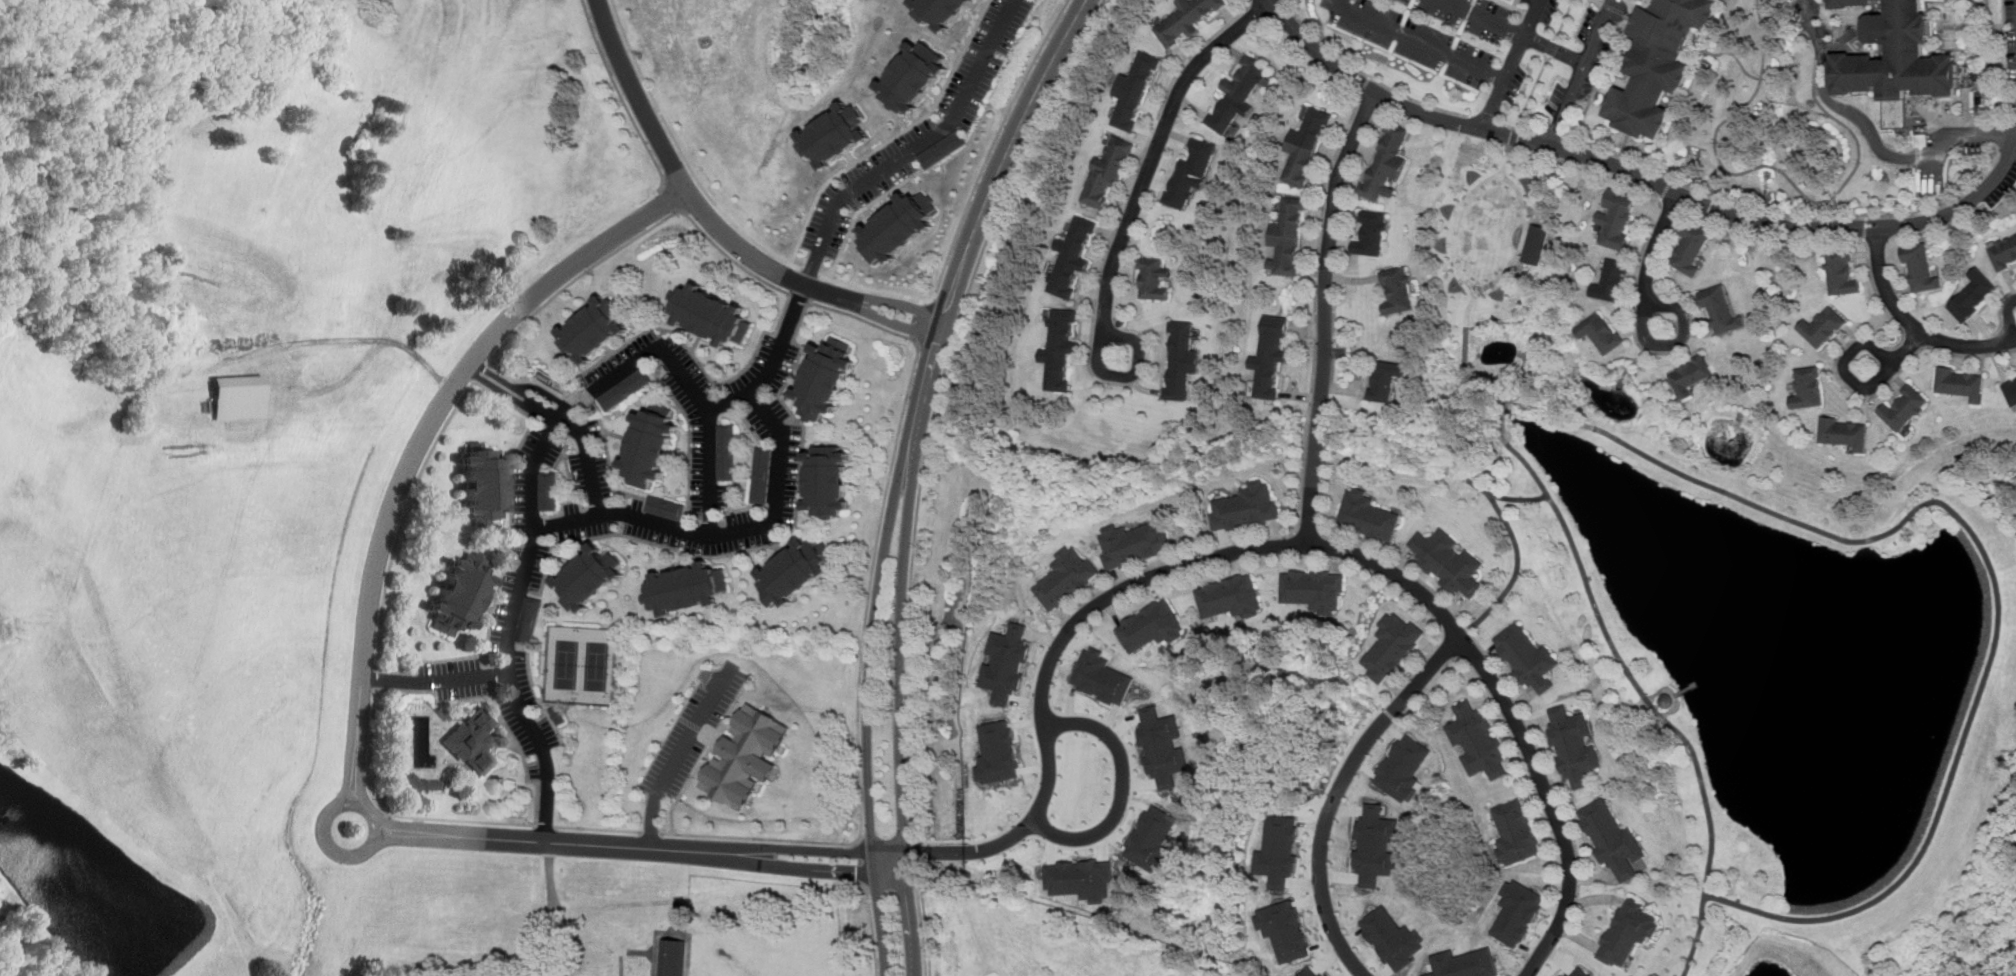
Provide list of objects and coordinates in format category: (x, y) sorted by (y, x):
road: (1283, 1)
road: (1273, 2)
road: (1603, 3)
road: (1510, 4)
building: (941, 11)
building: (1186, 19)
road: (1565, 19)
road: (1515, 31)
road: (1421, 41)
road: (1553, 46)
building: (1901, 46)
building: (1658, 62)
road: (1512, 64)
road: (1581, 71)
road: (1368, 75)
building: (913, 76)
road: (1364, 85)
building: (1135, 90)
building: (1239, 93)
road: (620, 95)
road: (642, 97)
road: (1530, 98)
road: (1487, 118)
road: (1530, 132)
road: (1516, 133)
building: (834, 134)
road: (1558, 135)
road: (2010, 135)
road: (1875, 139)
road: (1512, 144)
building: (1305, 147)
building: (942, 148)
road: (914, 149)
road: (1155, 150)
road: (682, 153)
building: (1387, 161)
building: (1108, 171)
building: (1191, 172)
road: (1641, 176)
road: (1666, 189)
road: (671, 196)
road: (971, 199)
road: (679, 210)
road: (1788, 215)
building: (1617, 216)
road: (977, 217)
building: (897, 225)
road: (1866, 227)
road: (1111, 233)
building: (1372, 233)
building: (1288, 237)
building: (1536, 243)
building: (1691, 246)
road: (1655, 247)
building: (2004, 251)
road: (753, 255)
building: (1072, 256)
building: (1921, 267)
road: (810, 271)
building: (1840, 272)
road: (575, 278)
building: (1154, 278)
building: (1613, 280)
building: (1398, 289)
building: (1973, 294)
road: (799, 296)
road: (949, 300)
road: (928, 301)
road: (891, 302)
road: (827, 306)
road: (1314, 306)
building: (1721, 309)
road: (2000, 310)
building: (712, 312)
road: (1326, 313)
road: (1102, 316)
road: (887, 317)
road: (2010, 318)
road: (922, 319)
road: (1634, 325)
building: (1823, 326)
road: (1914, 326)
building: (595, 330)
building: (1601, 331)
road: (915, 338)
road: (1677, 343)
building: (1060, 348)
road: (1907, 350)
road: (1465, 353)
building: (1271, 355)
building: (1182, 359)
road: (478, 369)
road: (1844, 369)
road: (1837, 372)
road: (607, 374)
road: (712, 374)
road: (1133, 374)
building: (1690, 374)
building: (827, 378)
building: (1385, 379)
building: (1961, 383)
building: (1808, 387)
building: (626, 389)
building: (2011, 391)
building: (240, 397)
road: (935, 402)
building: (1905, 408)
road: (564, 415)
building: (1846, 430)
road: (424, 442)
building: (651, 444)
building: (728, 450)
road: (709, 471)
building: (762, 475)
building: (829, 479)
building: (483, 485)
building: (550, 491)
road: (1756, 505)
building: (1247, 506)
building: (666, 507)
road: (625, 512)
building: (1369, 515)
road: (1307, 531)
building: (1134, 543)
building: (1450, 560)
building: (797, 569)
road: (1517, 573)
building: (592, 577)
building: (1067, 577)
building: (685, 588)
building: (1314, 588)
building: (460, 593)
road: (1108, 595)
building: (1229, 596)
building: (530, 620)
building: (1152, 625)
building: (1392, 644)
road: (1045, 647)
road: (1453, 650)
building: (1528, 657)
road: (435, 658)
building: (1006, 662)
park: (581, 663)
building: (1102, 676)
road: (374, 678)
road: (436, 681)
road: (1425, 687)
road: (374, 689)
road: (1040, 693)
road: (867, 711)
road: (900, 713)
road: (1390, 713)
building: (558, 715)
road: (1520, 715)
parking lot: (695, 729)
building: (471, 740)
building: (1477, 741)
building: (1574, 744)
building: (1163, 746)
building: (997, 752)
road: (678, 754)
building: (745, 758)
building: (1403, 767)
building: (423, 781)
road: (1122, 786)
road: (1131, 787)
road: (1337, 790)
road: (1549, 800)
road: (547, 828)
road: (599, 830)
road: (1017, 831)
building: (1515, 831)
road: (649, 833)
road: (1312, 836)
road: (916, 838)
building: (1152, 838)
road: (759, 840)
building: (1613, 840)
road: (545, 842)
building: (1375, 844)
road: (794, 848)
building: (1279, 850)
road: (915, 852)
road: (339, 854)
road: (888, 857)
road: (859, 863)
road: (796, 866)
building: (1081, 878)
road: (548, 909)
building: (1517, 912)
road: (920, 920)
road: (565, 926)
building: (1285, 929)
road: (871, 931)
building: (1629, 931)
road: (1699, 936)
building: (1393, 938)
road: (36, 941)
building: (675, 956)
building: (1465, 963)
building: (1309, 972)
building: (1578, 972)
building: (1326, 974)

